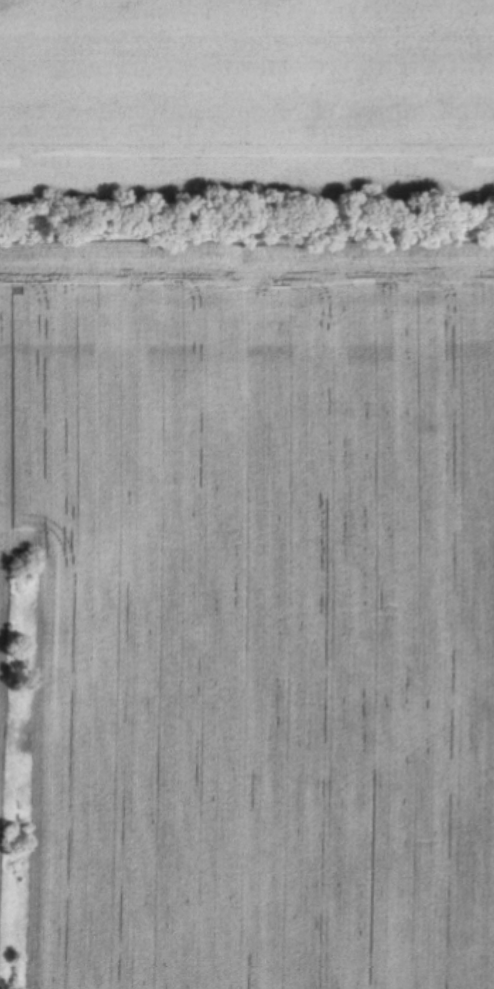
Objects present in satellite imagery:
park: (247, 494)

